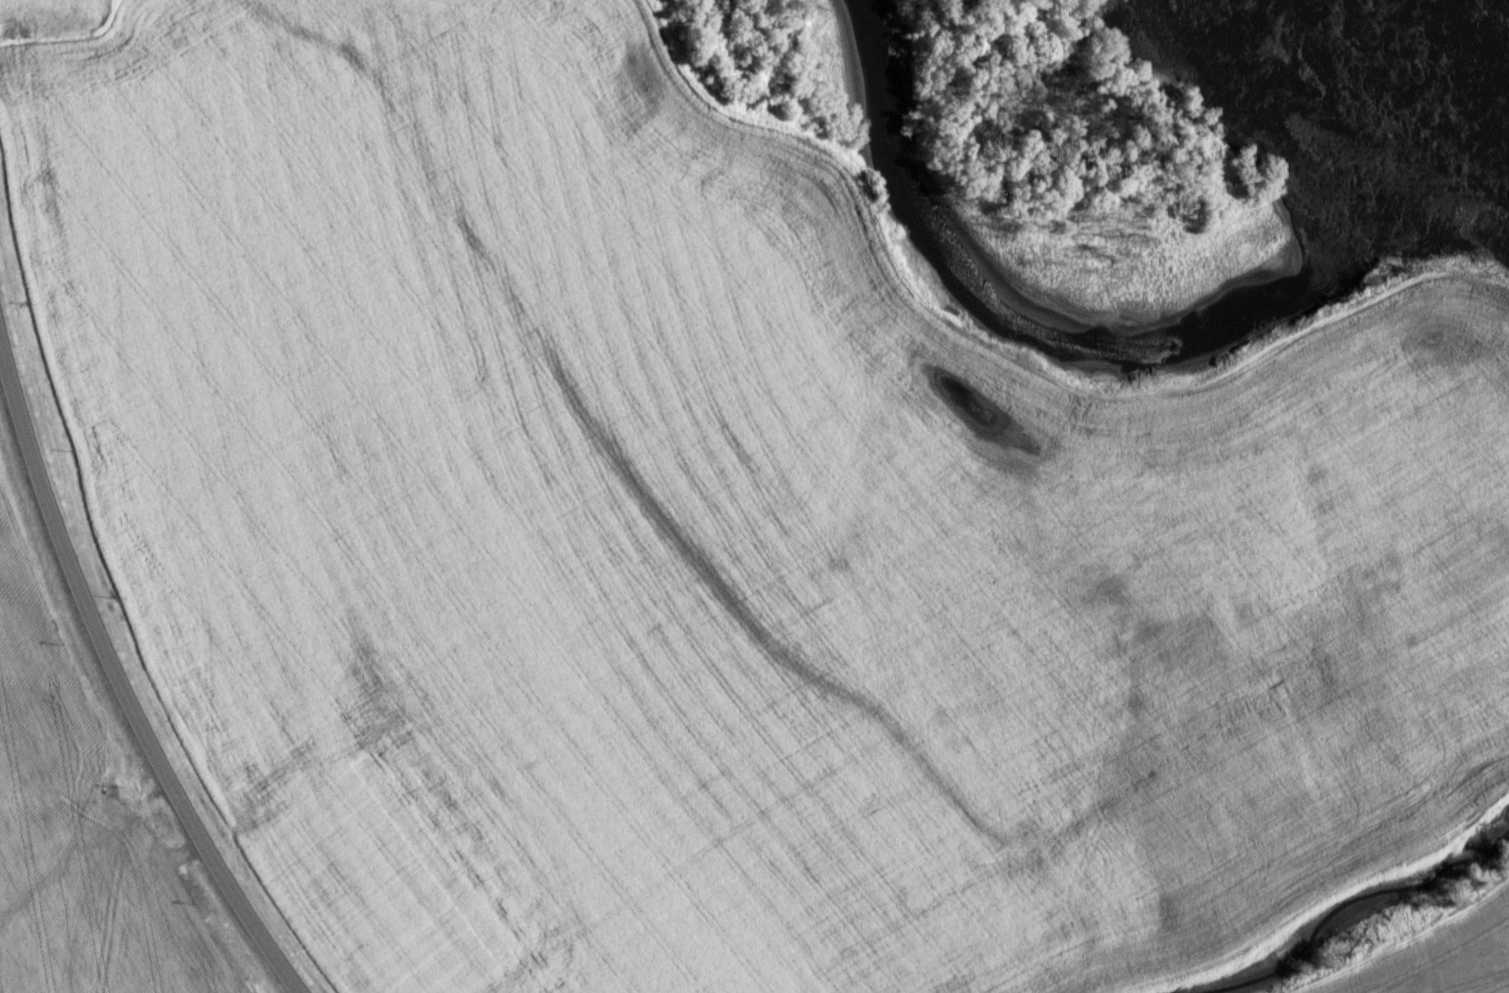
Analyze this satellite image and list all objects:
river: (1013, 292)
road: (122, 672)

